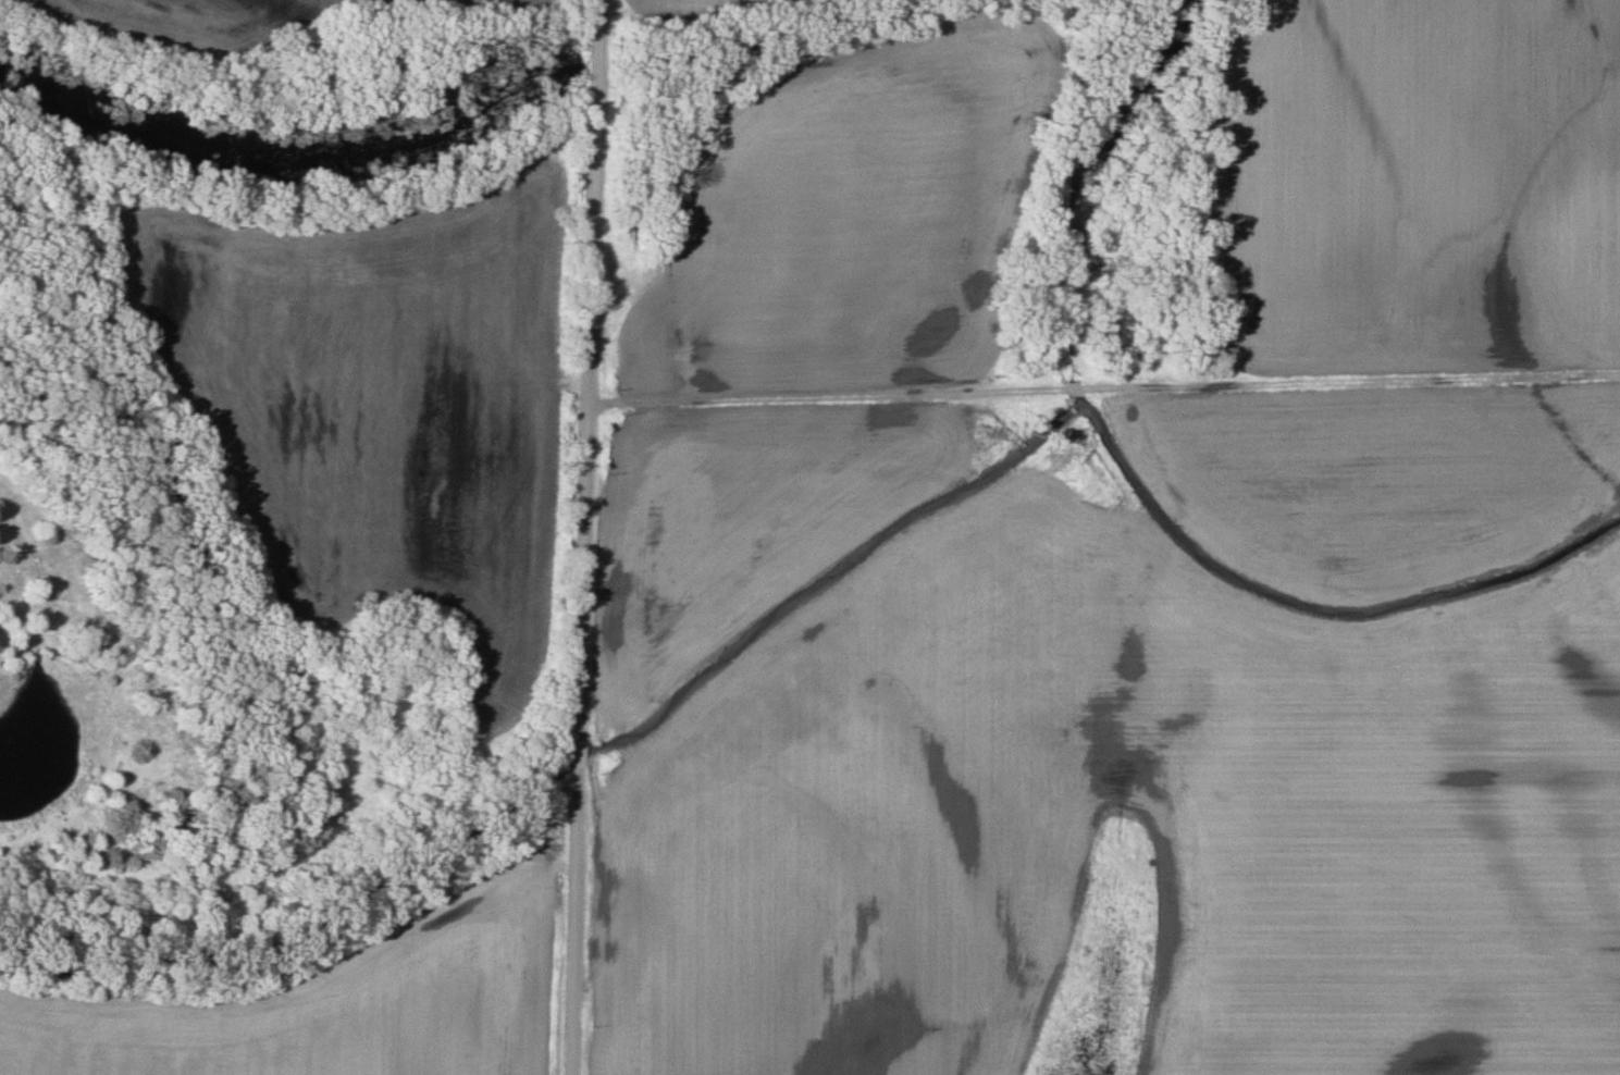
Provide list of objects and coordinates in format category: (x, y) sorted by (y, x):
road: (1103, 395)
road: (583, 536)

